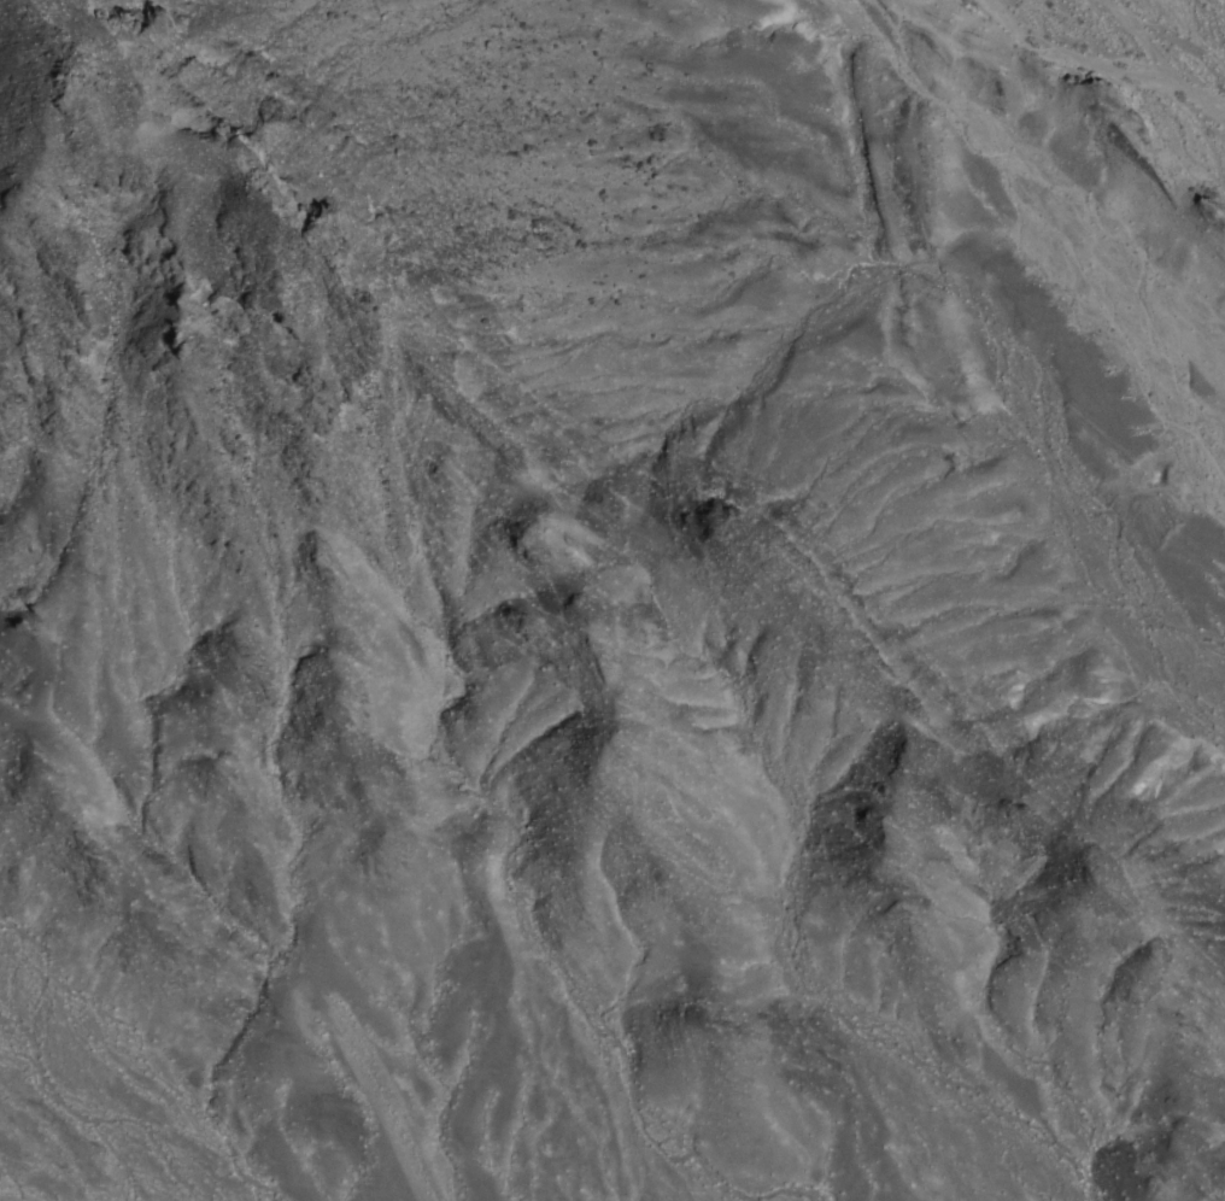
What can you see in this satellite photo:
road: (1048, 121)

